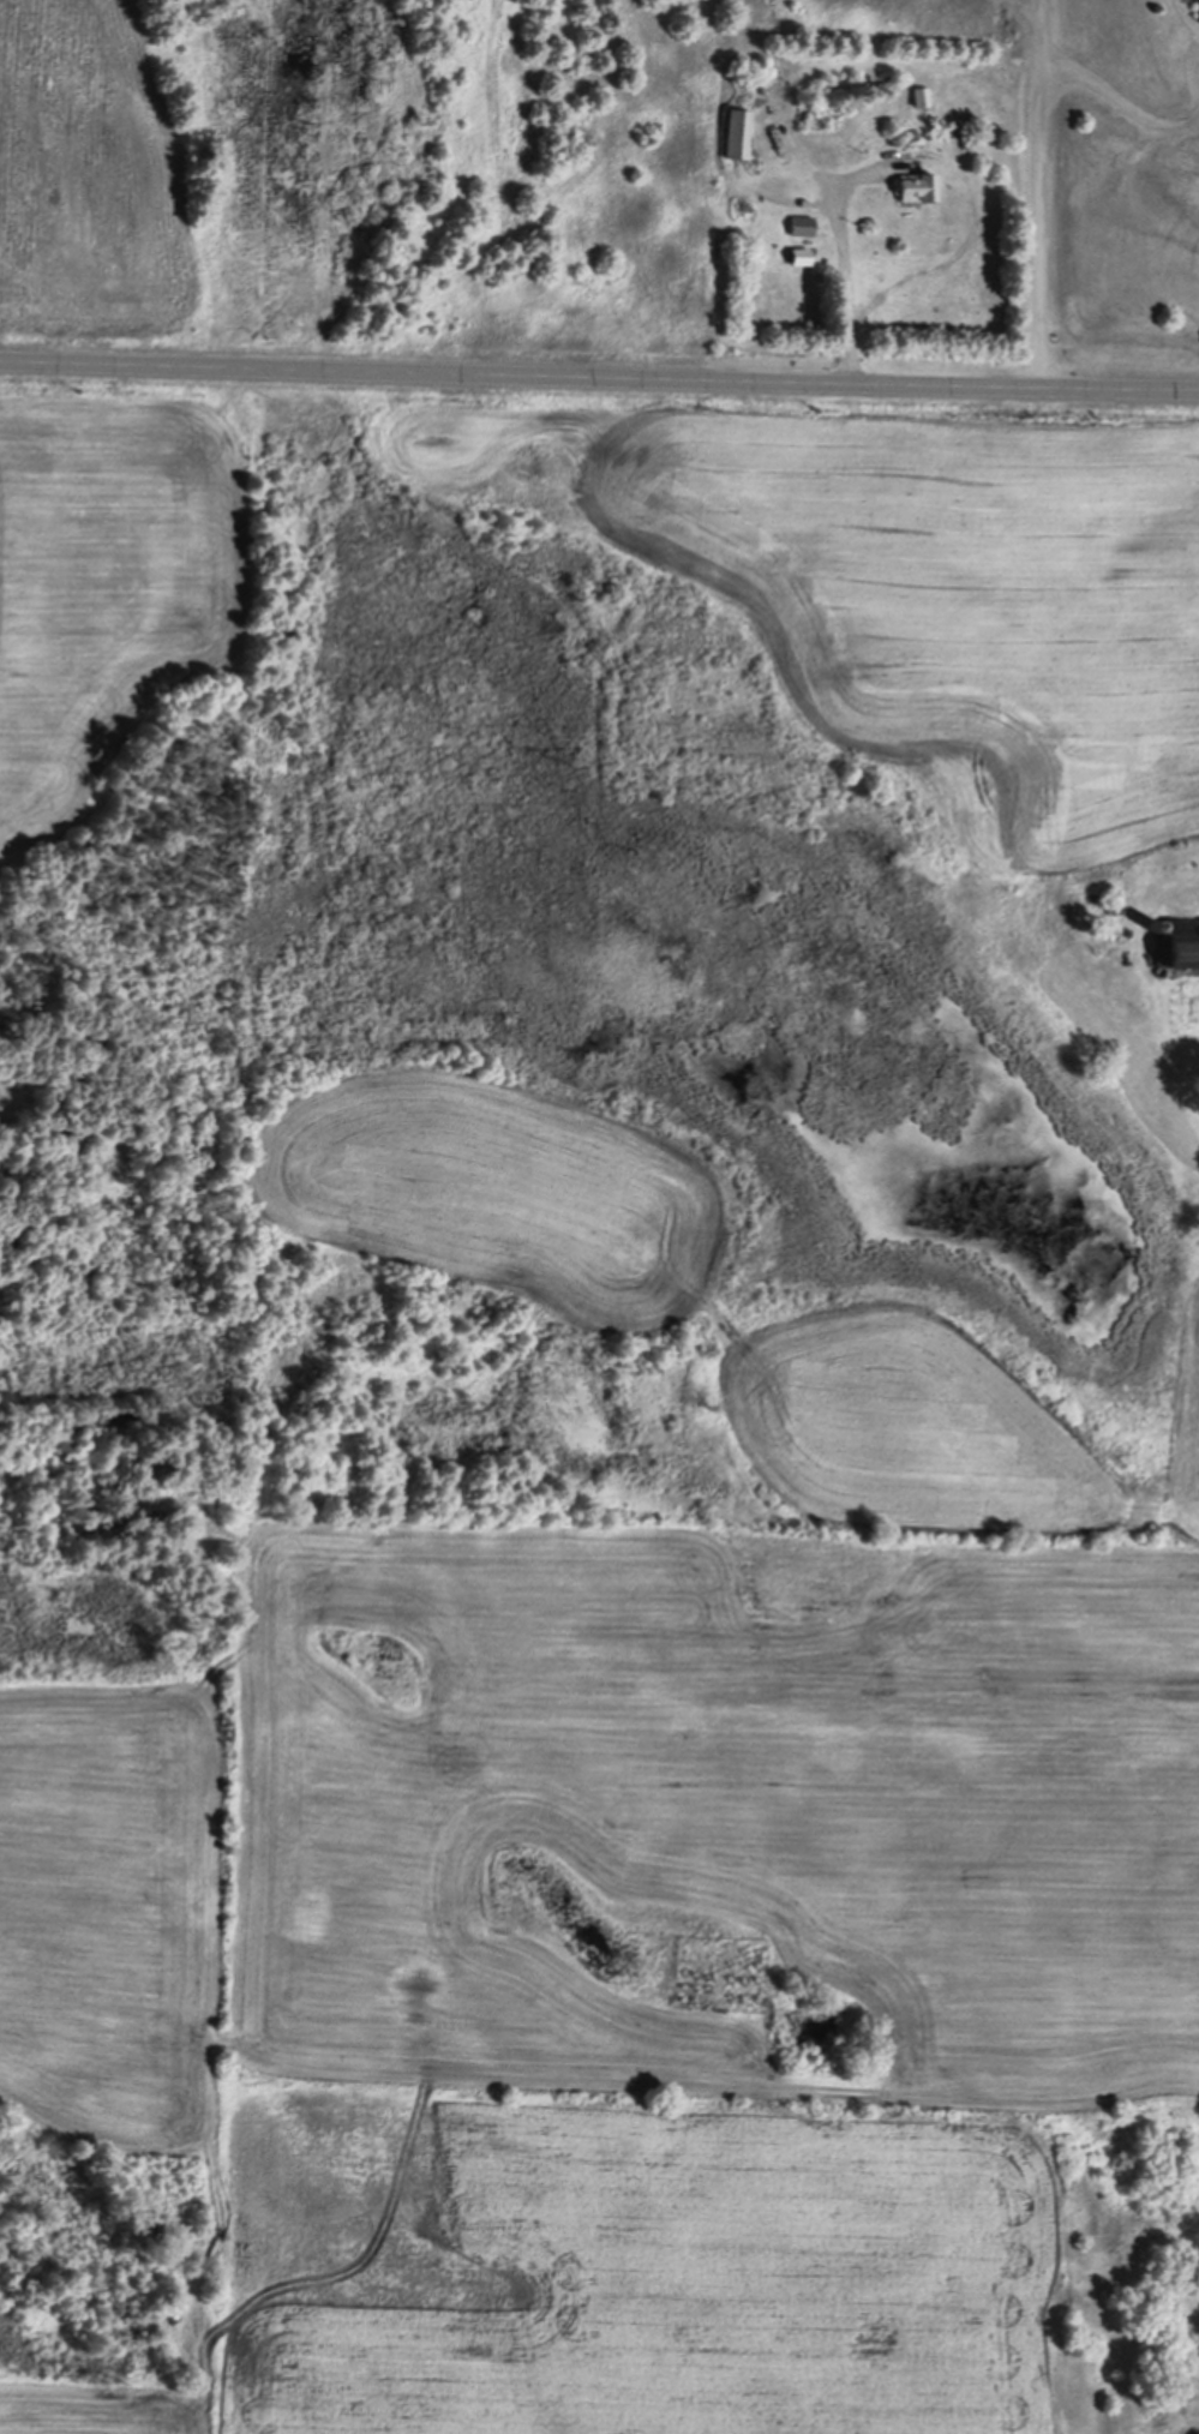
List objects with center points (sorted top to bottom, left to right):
building: (922, 94)
road: (1116, 97)
building: (739, 130)
building: (921, 184)
road: (1037, 192)
building: (804, 222)
building: (802, 253)
road: (599, 370)
building: (1185, 941)

